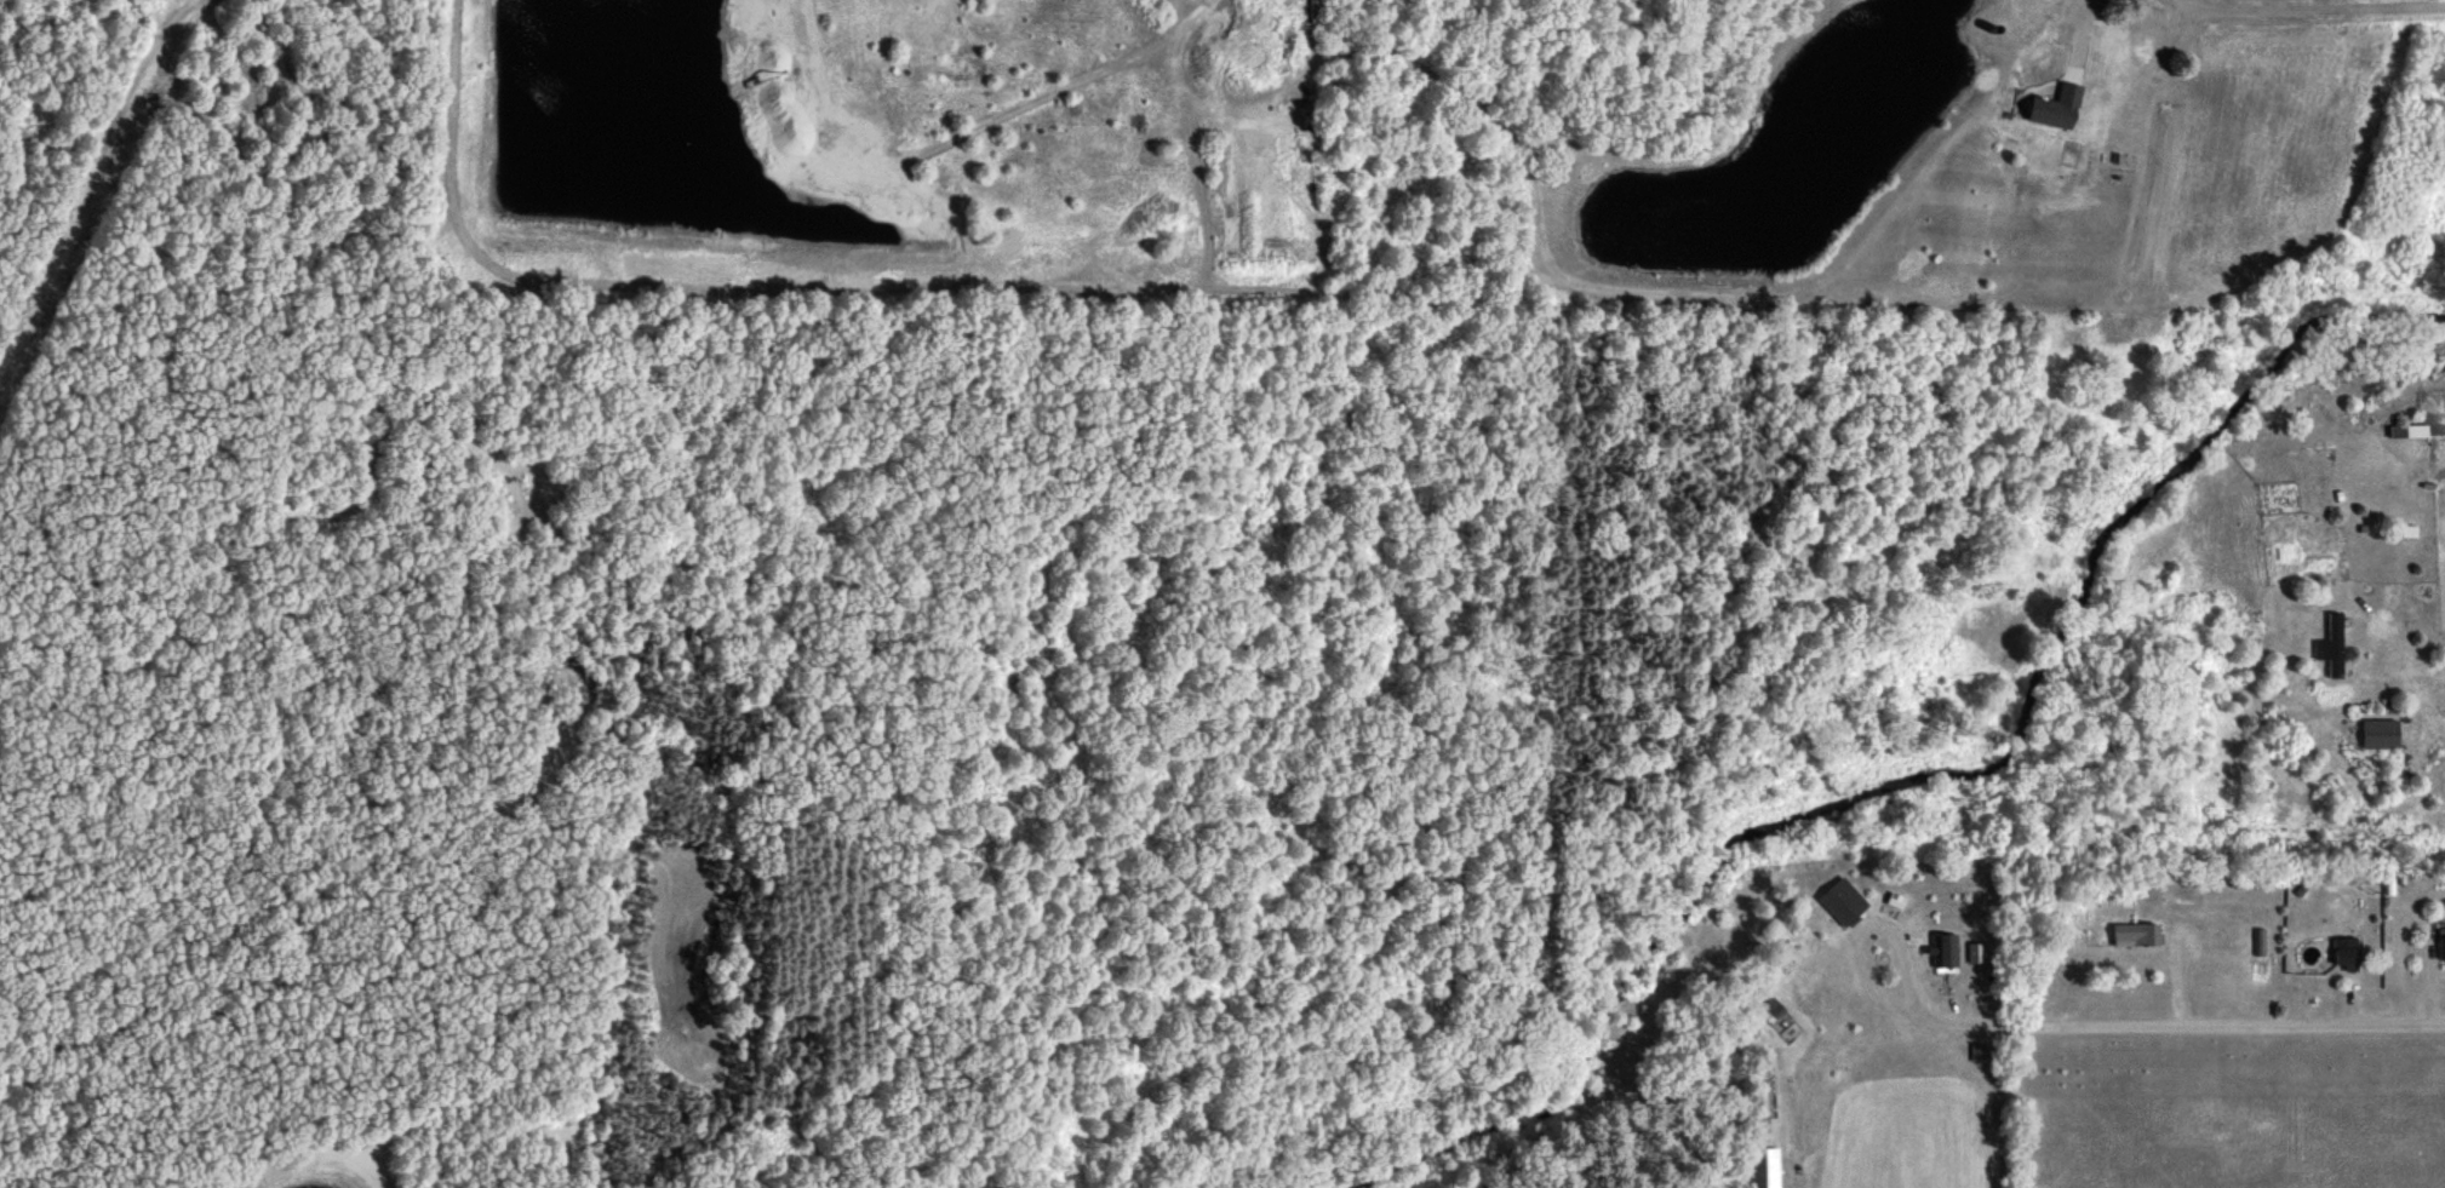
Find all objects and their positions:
road: (2298, 2)
road: (45, 57)
building: (2051, 107)
building: (2329, 644)
building: (2376, 731)
road: (2188, 862)
building: (1839, 900)
road: (1868, 922)
building: (2132, 932)
building: (2440, 942)
building: (2343, 951)
building: (1941, 952)
building: (1771, 1006)
road: (2187, 1017)
building: (1762, 1167)

